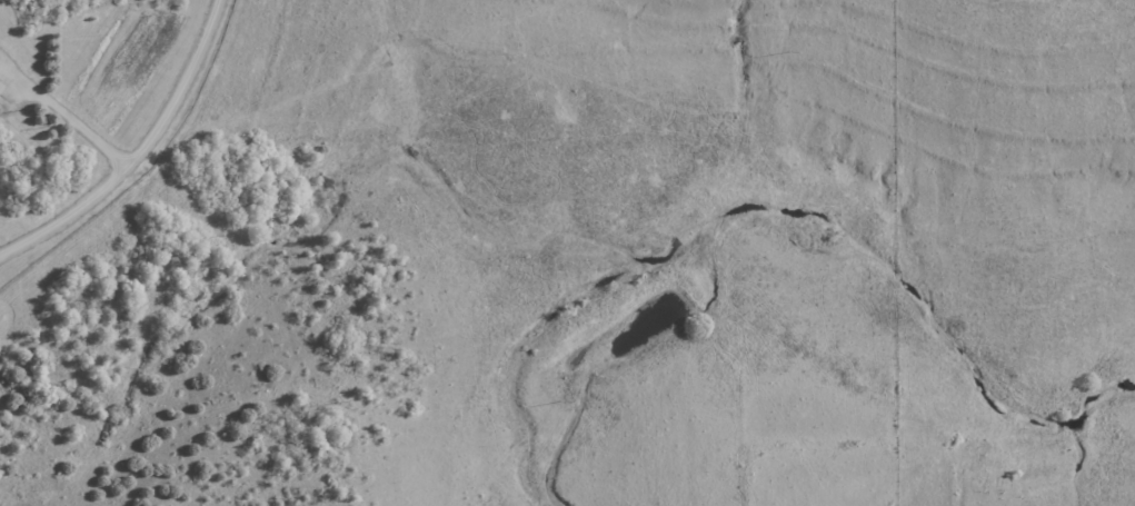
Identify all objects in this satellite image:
building: (1, 86)
road: (135, 150)

